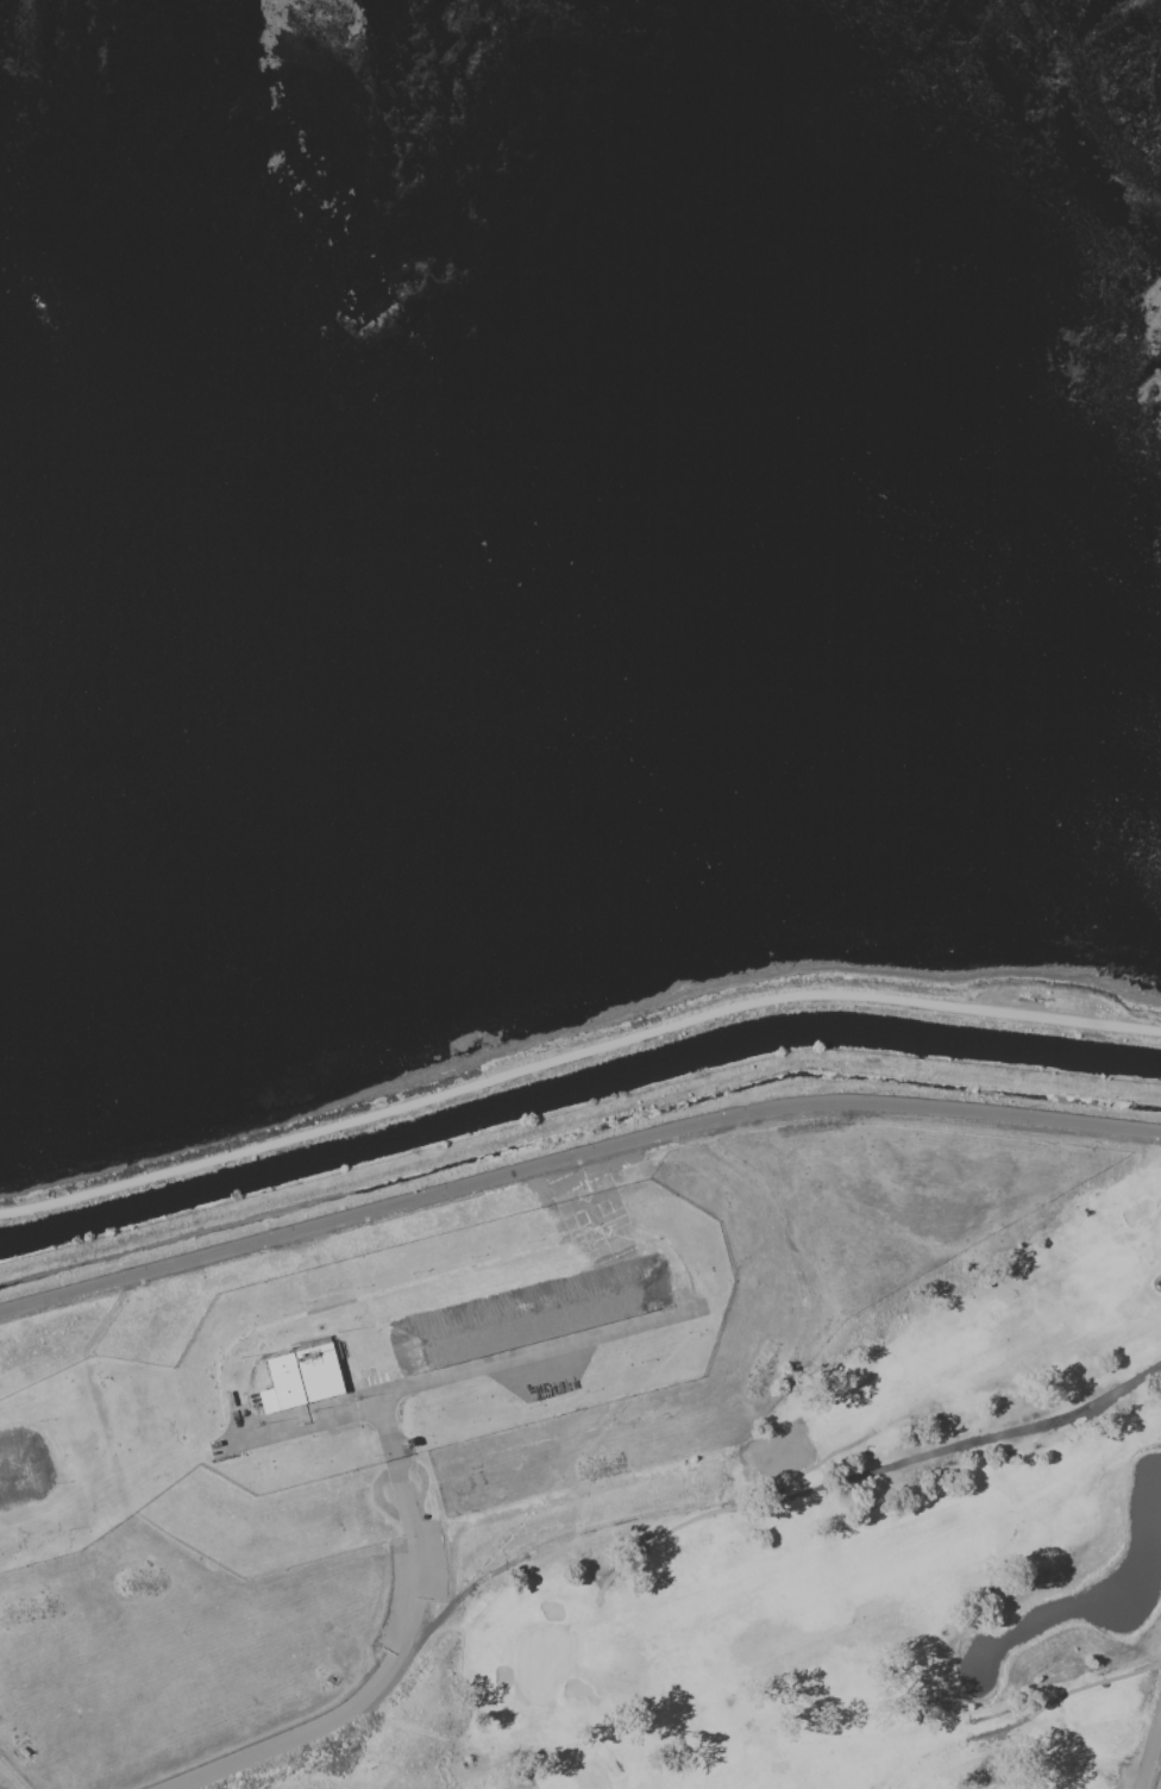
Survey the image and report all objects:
building: (36, 302)
road: (575, 1055)
road: (573, 1157)
road: (458, 1374)
building: (301, 1378)
park: (843, 1558)
road: (398, 1653)
road: (1151, 1758)

